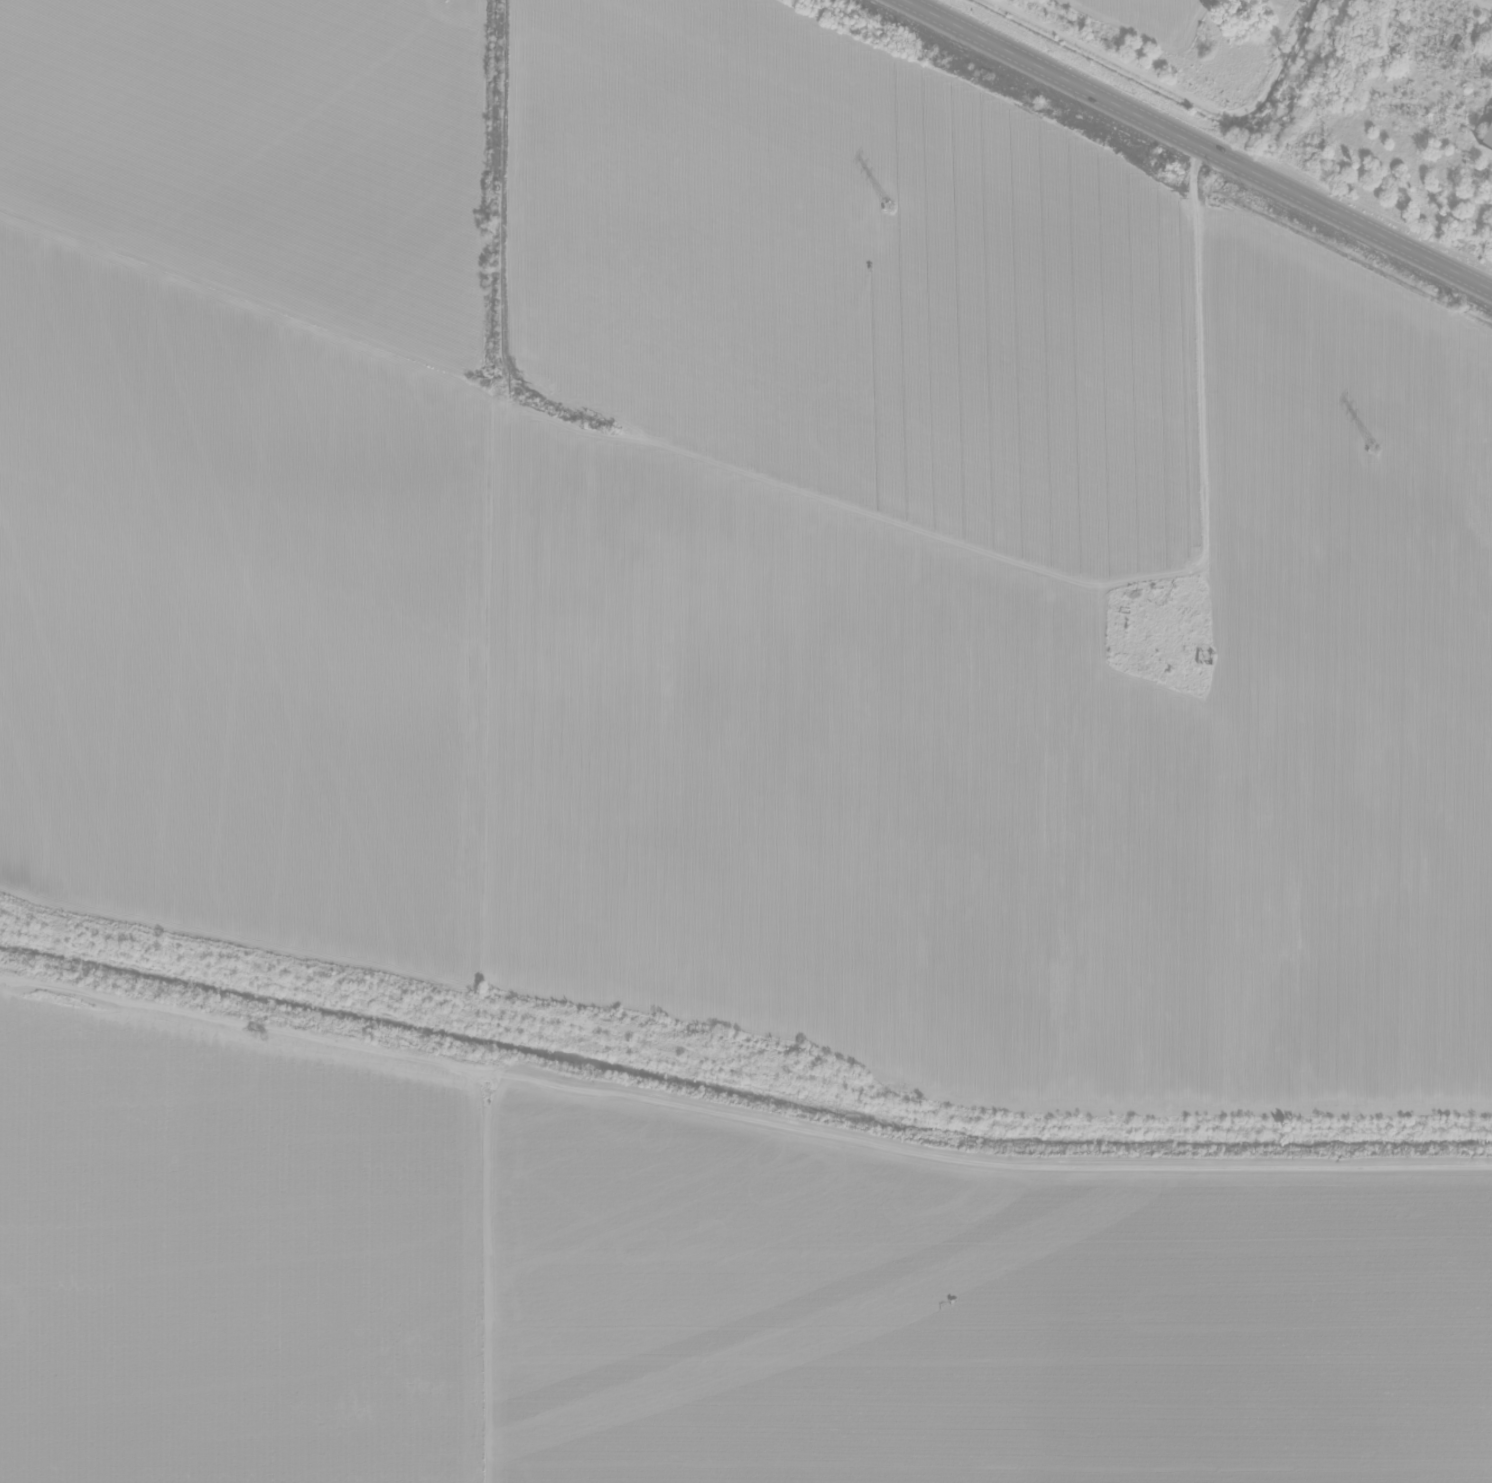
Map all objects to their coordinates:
road: (1200, 144)
power tower: (888, 208)
power tower: (1371, 448)

